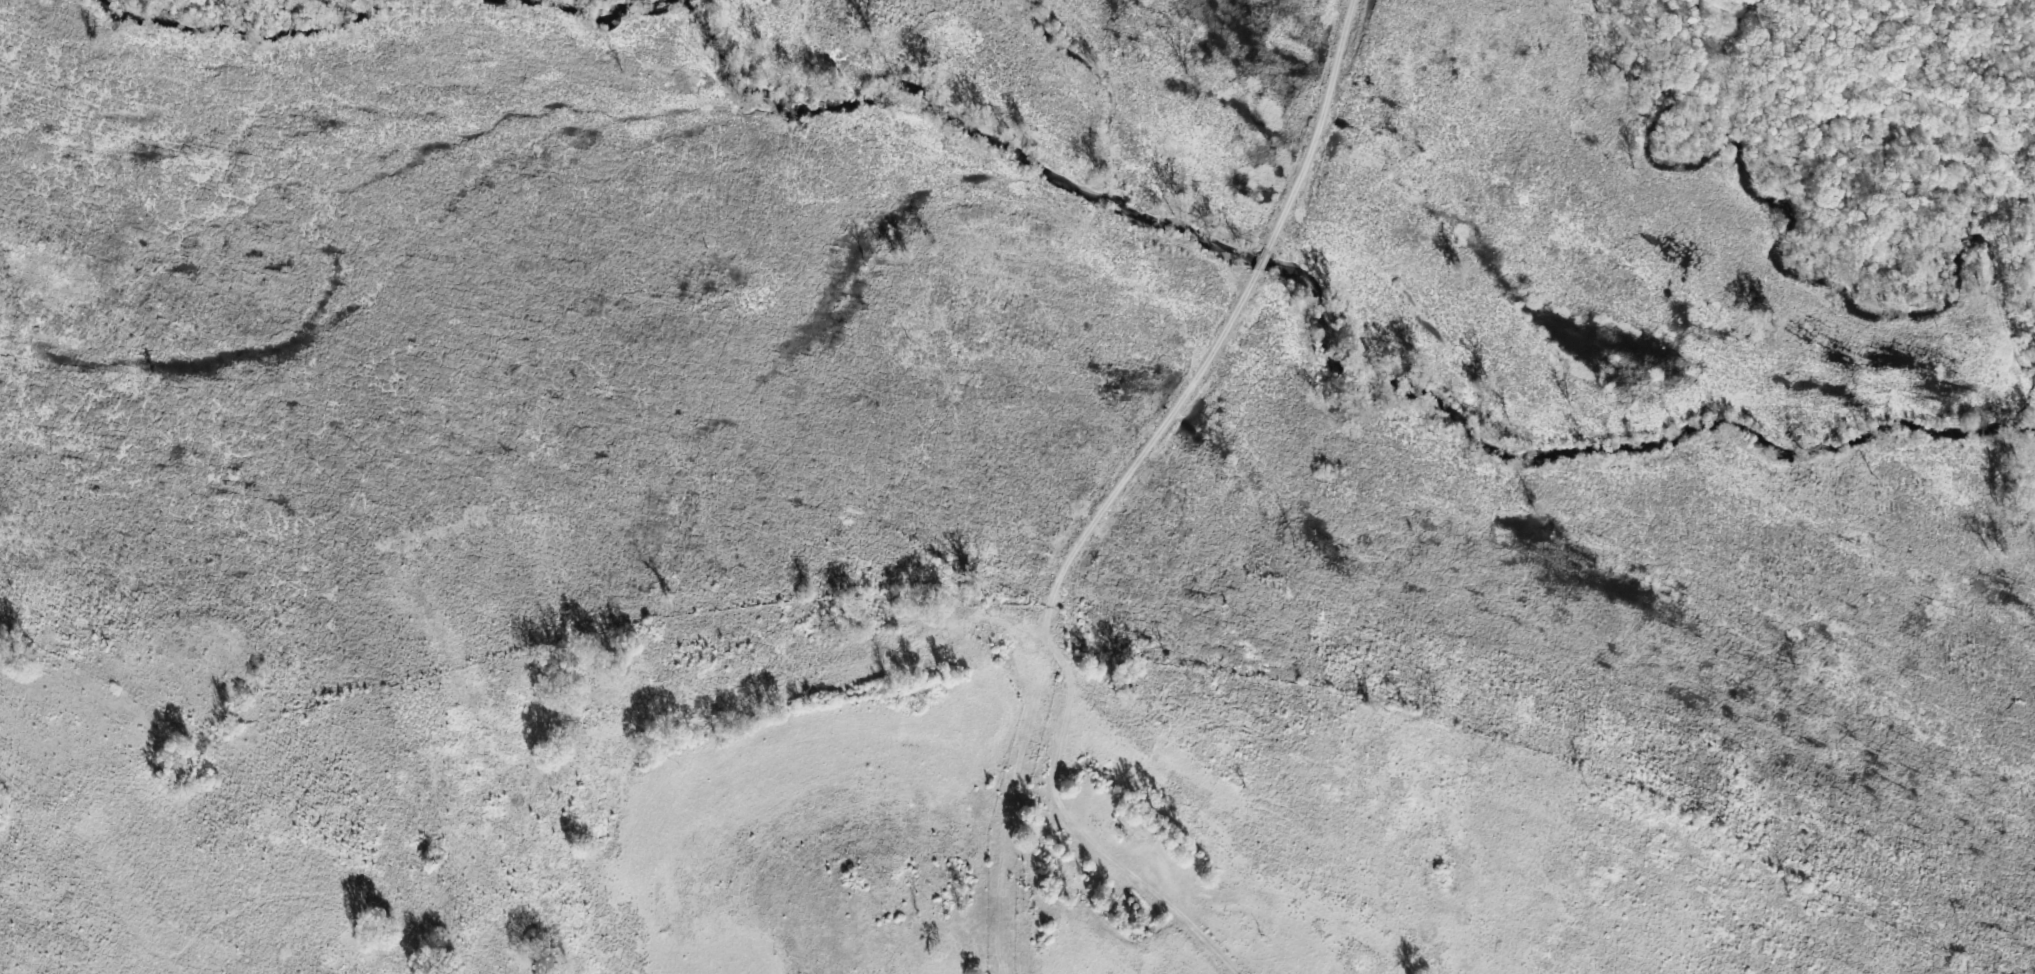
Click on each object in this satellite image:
road: (1162, 892)

